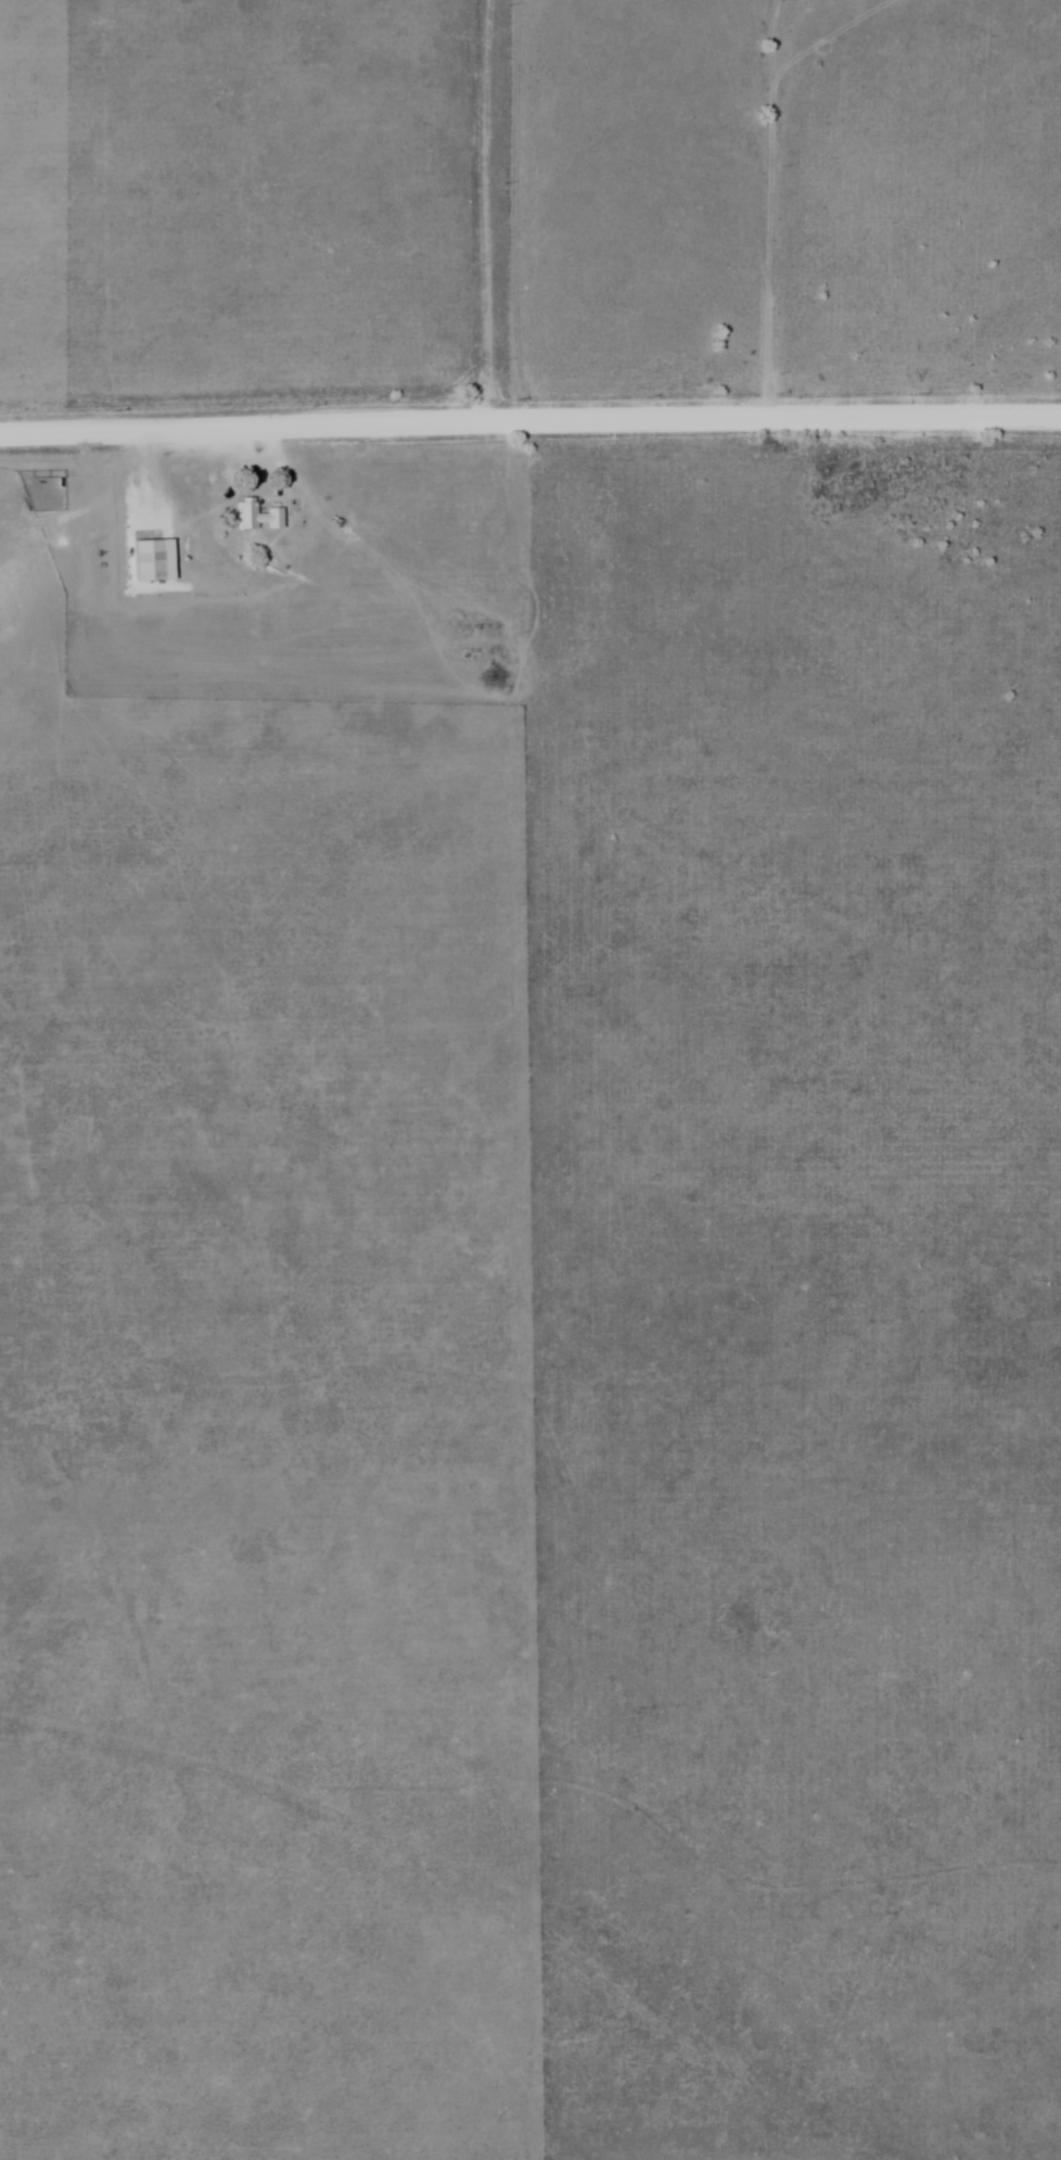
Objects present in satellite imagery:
road: (771, 212)
road: (529, 429)
building: (258, 518)
building: (154, 560)

